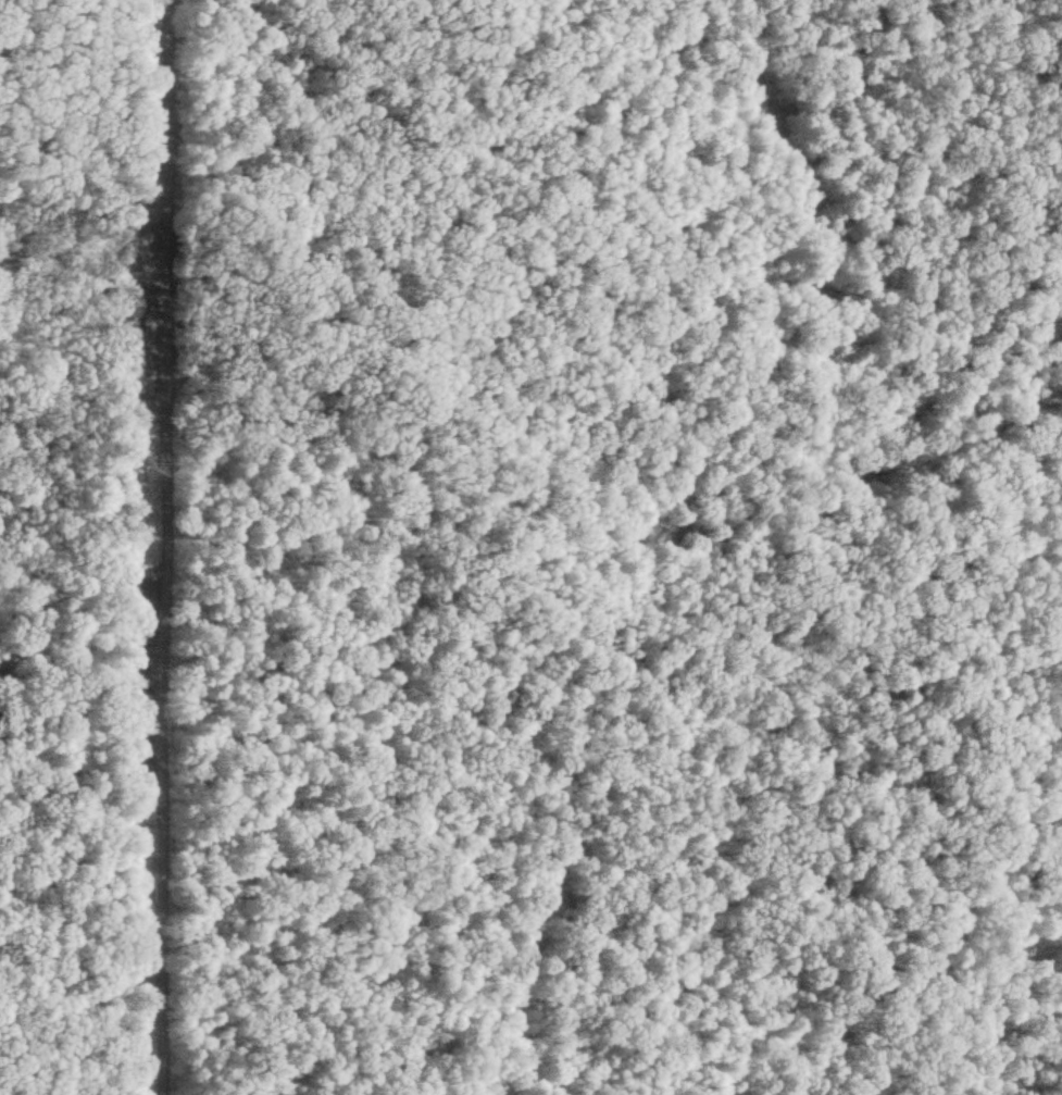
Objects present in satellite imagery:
road: (171, 547)

